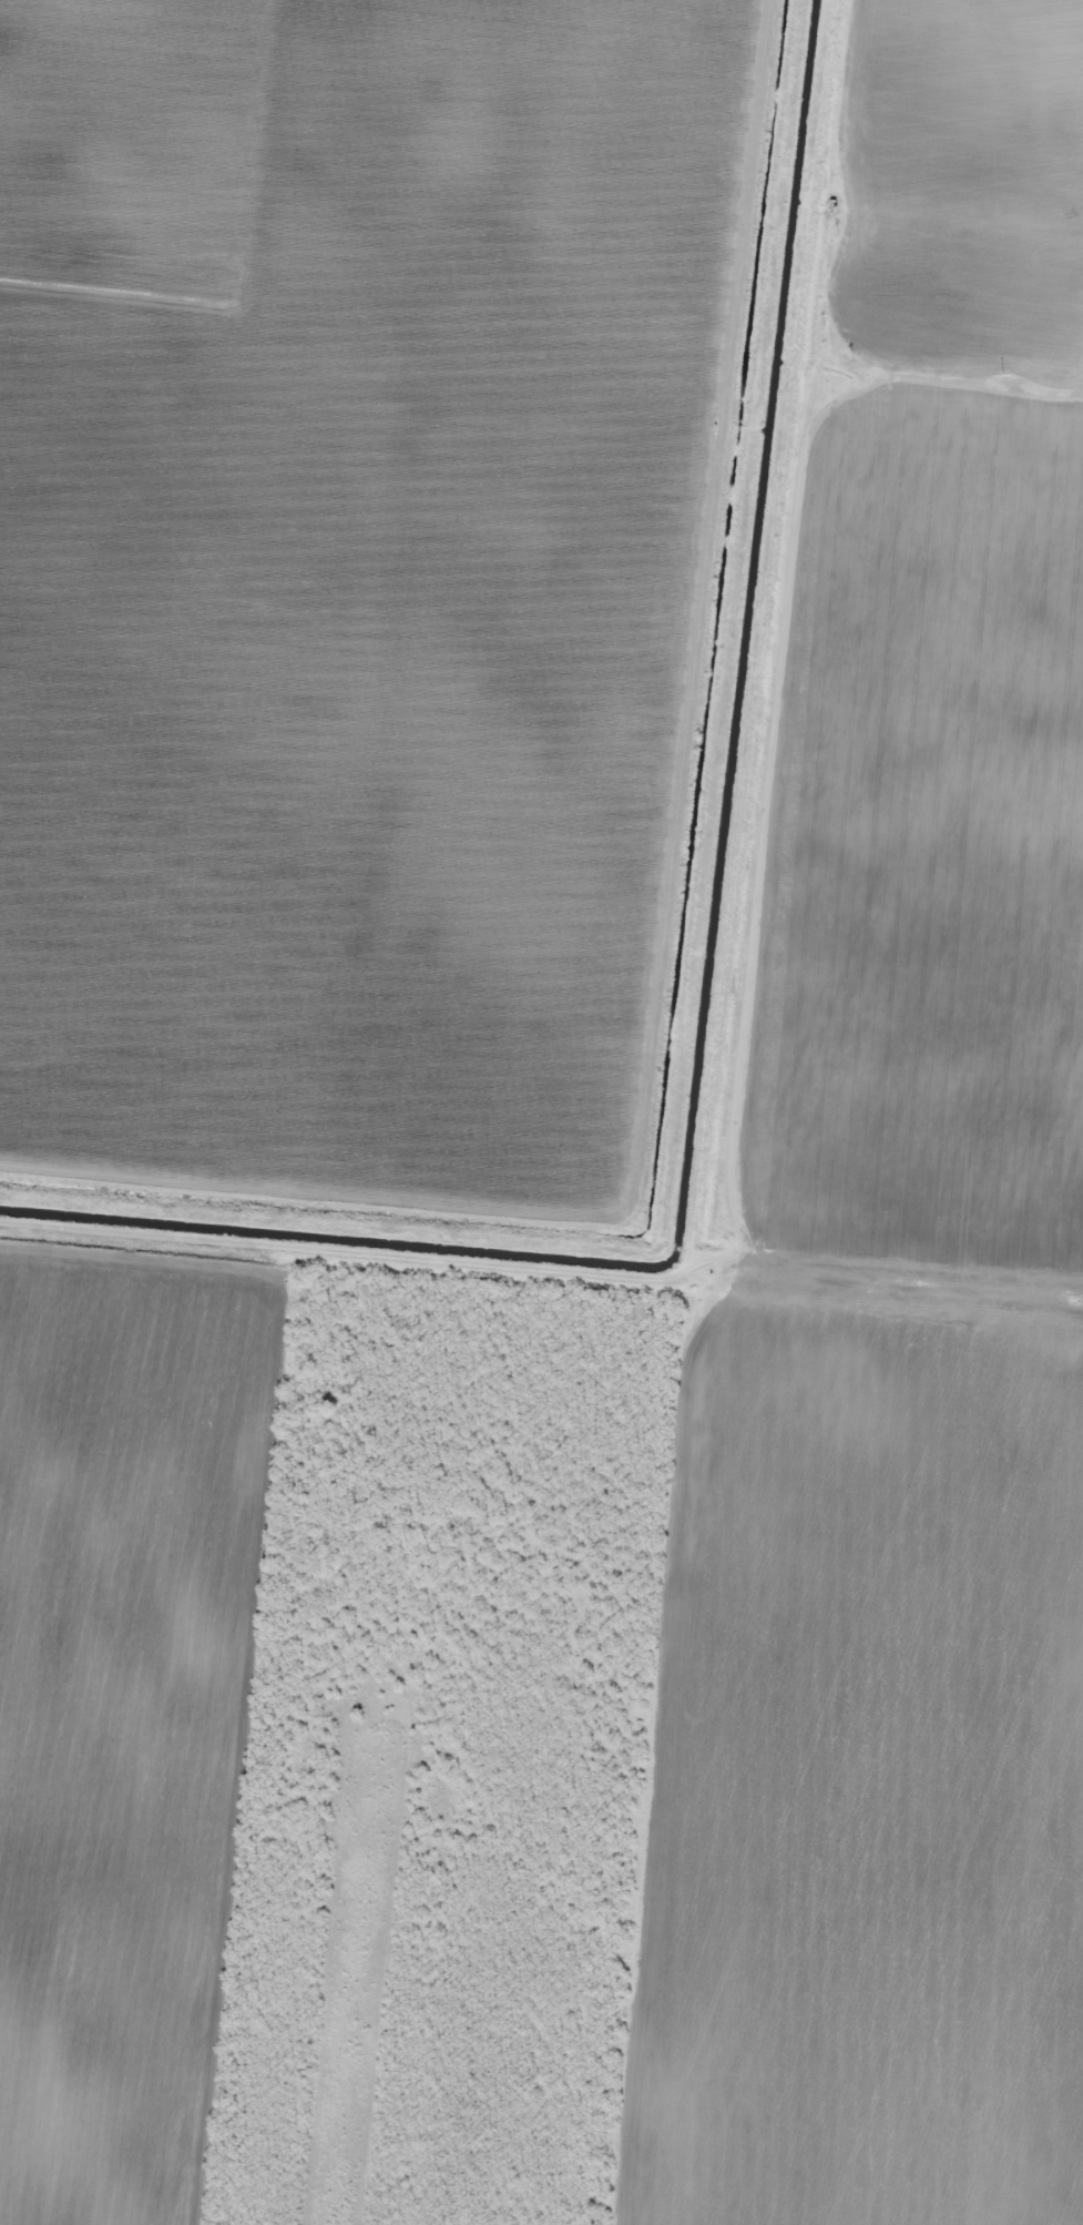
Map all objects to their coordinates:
road: (899, 294)

